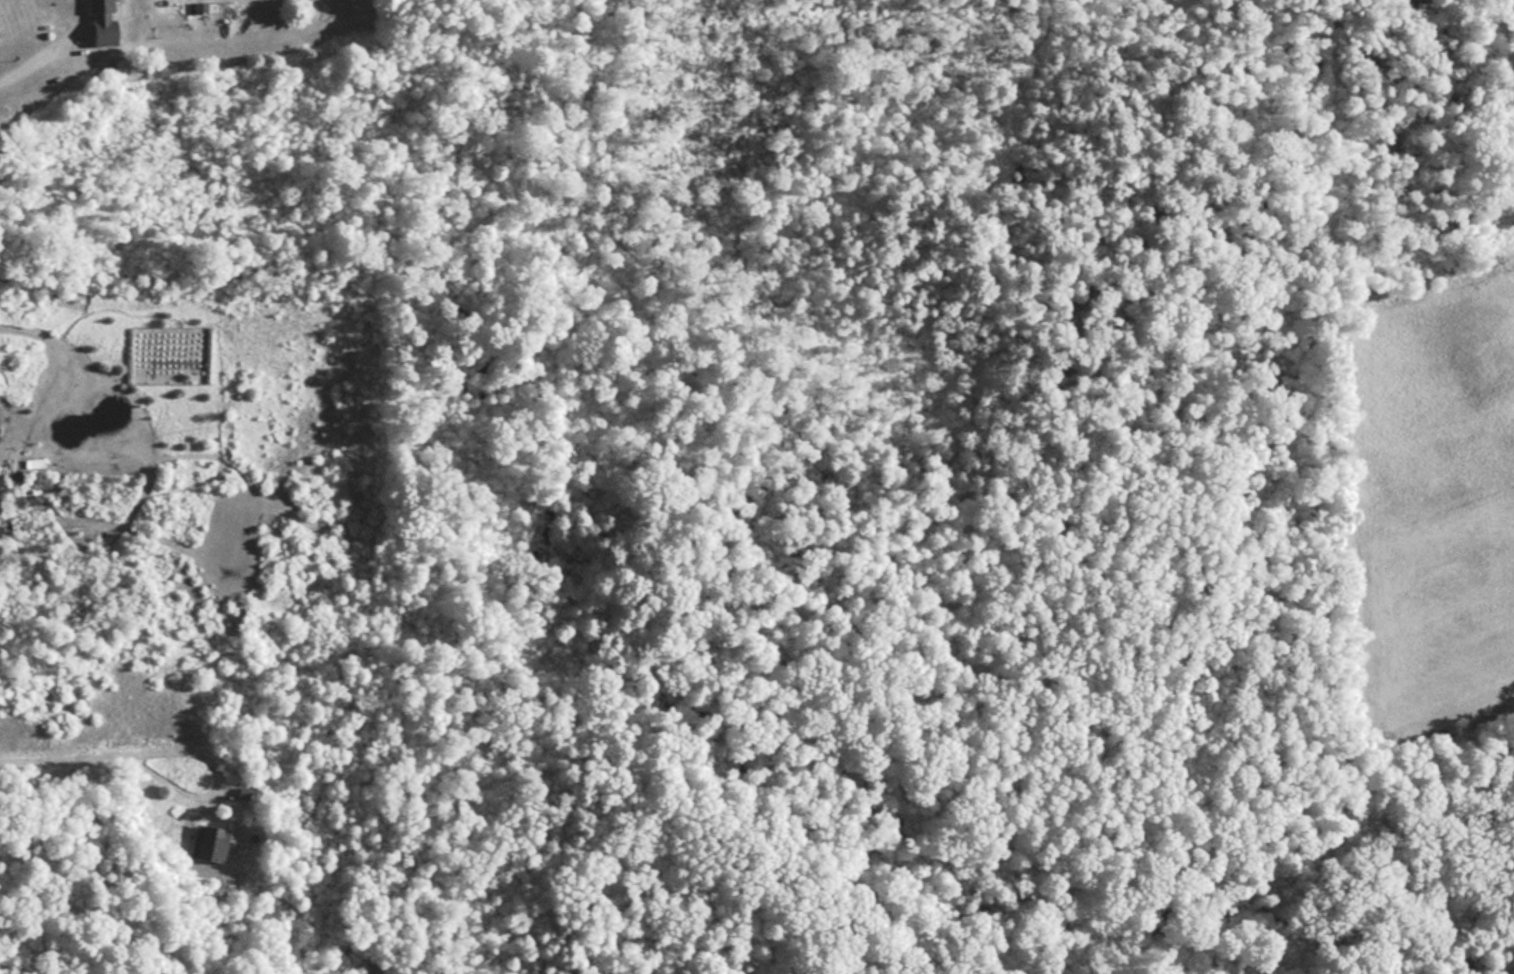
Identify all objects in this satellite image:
building: (104, 22)
road: (35, 49)
road: (59, 755)
road: (211, 779)
building: (240, 793)
building: (211, 843)

